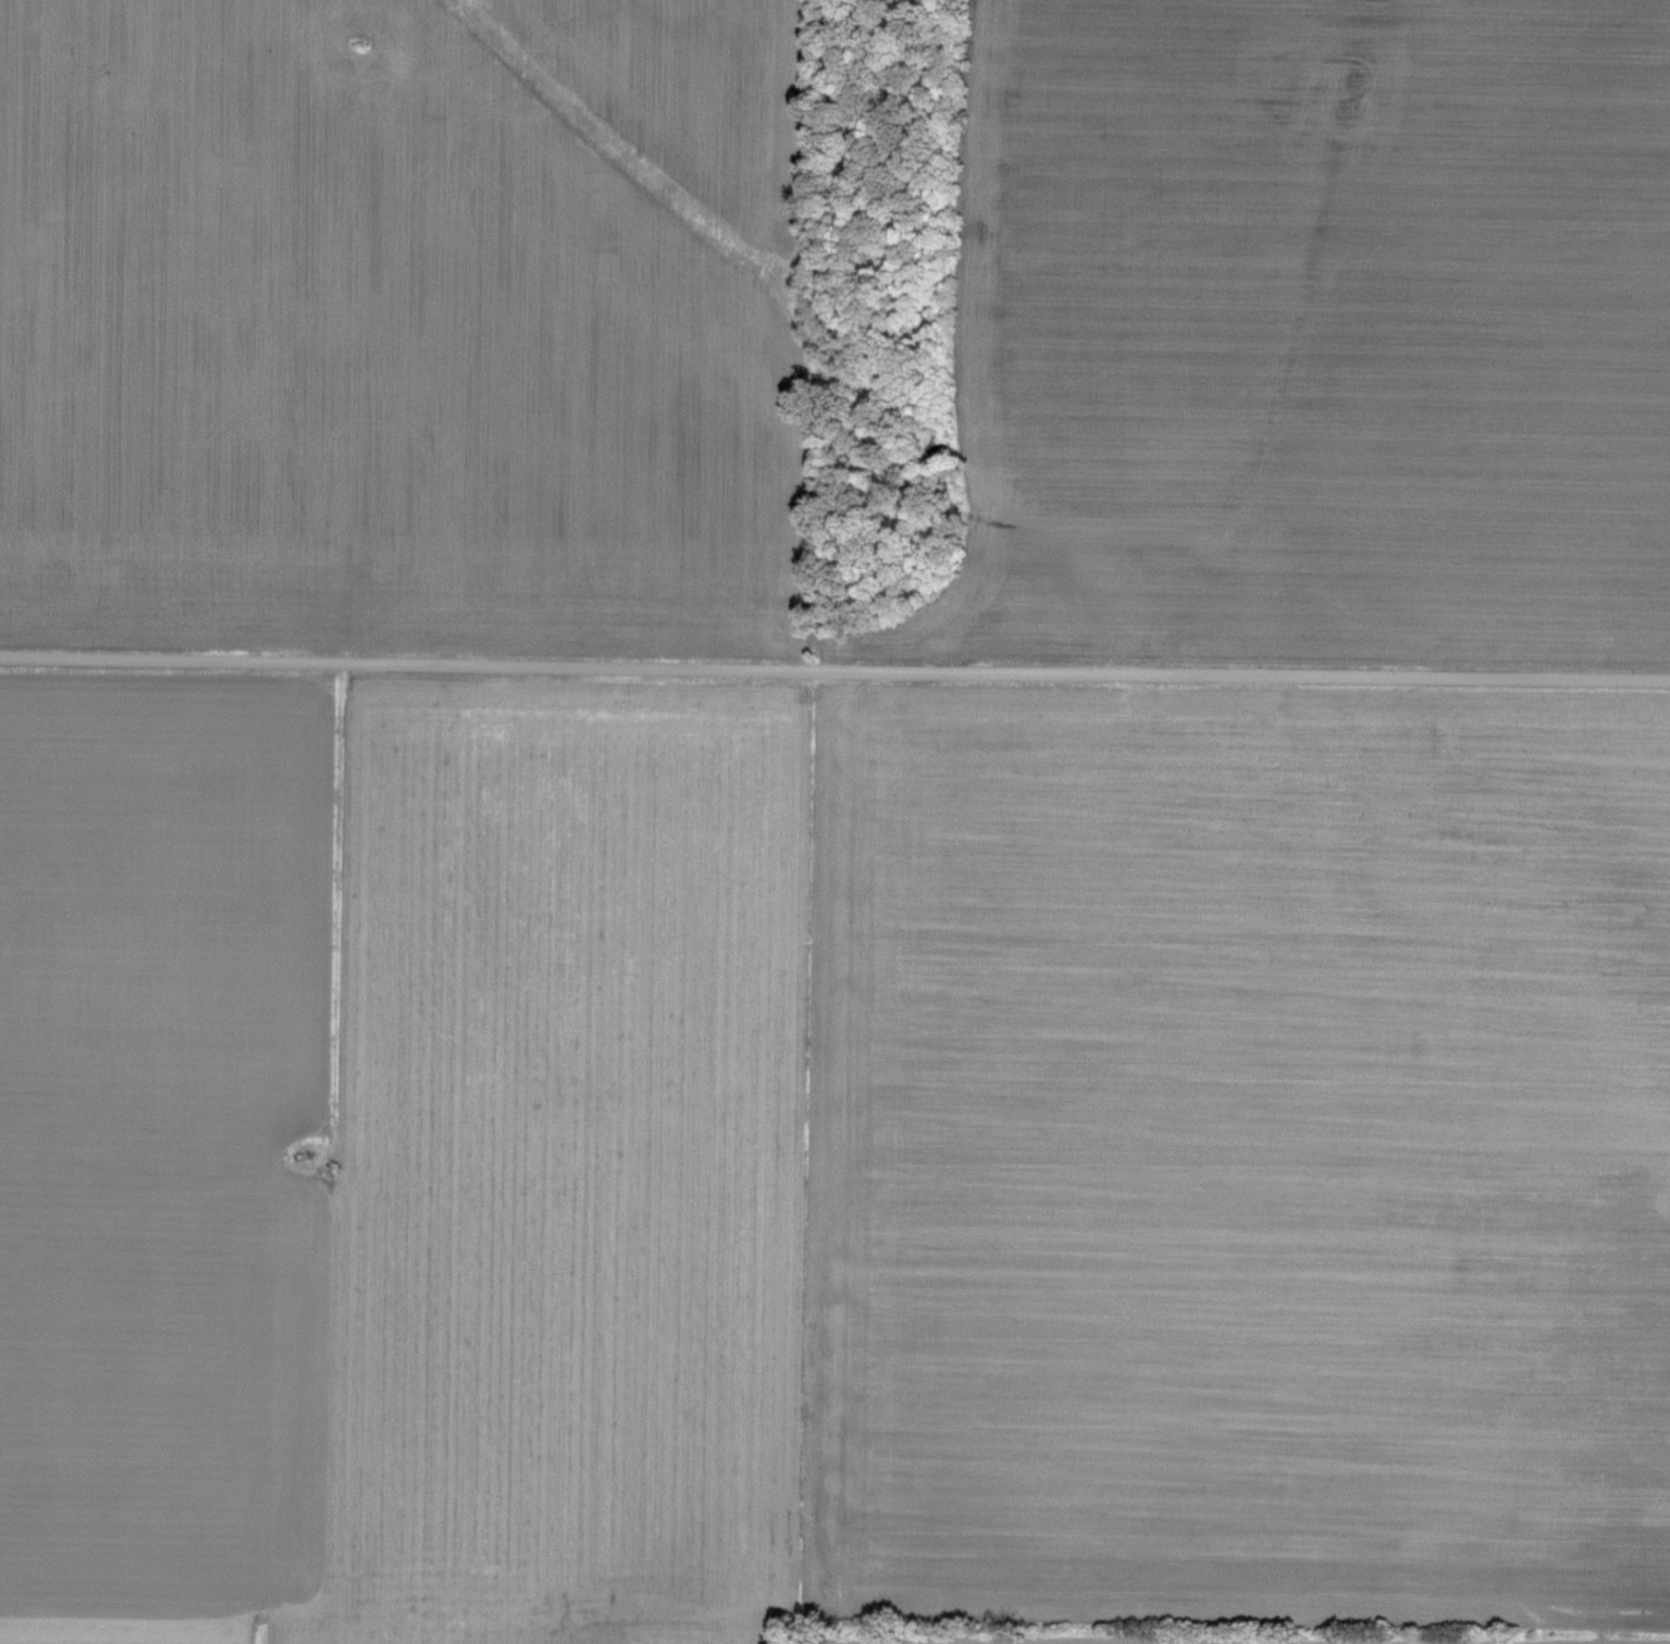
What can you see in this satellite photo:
road: (834, 666)

